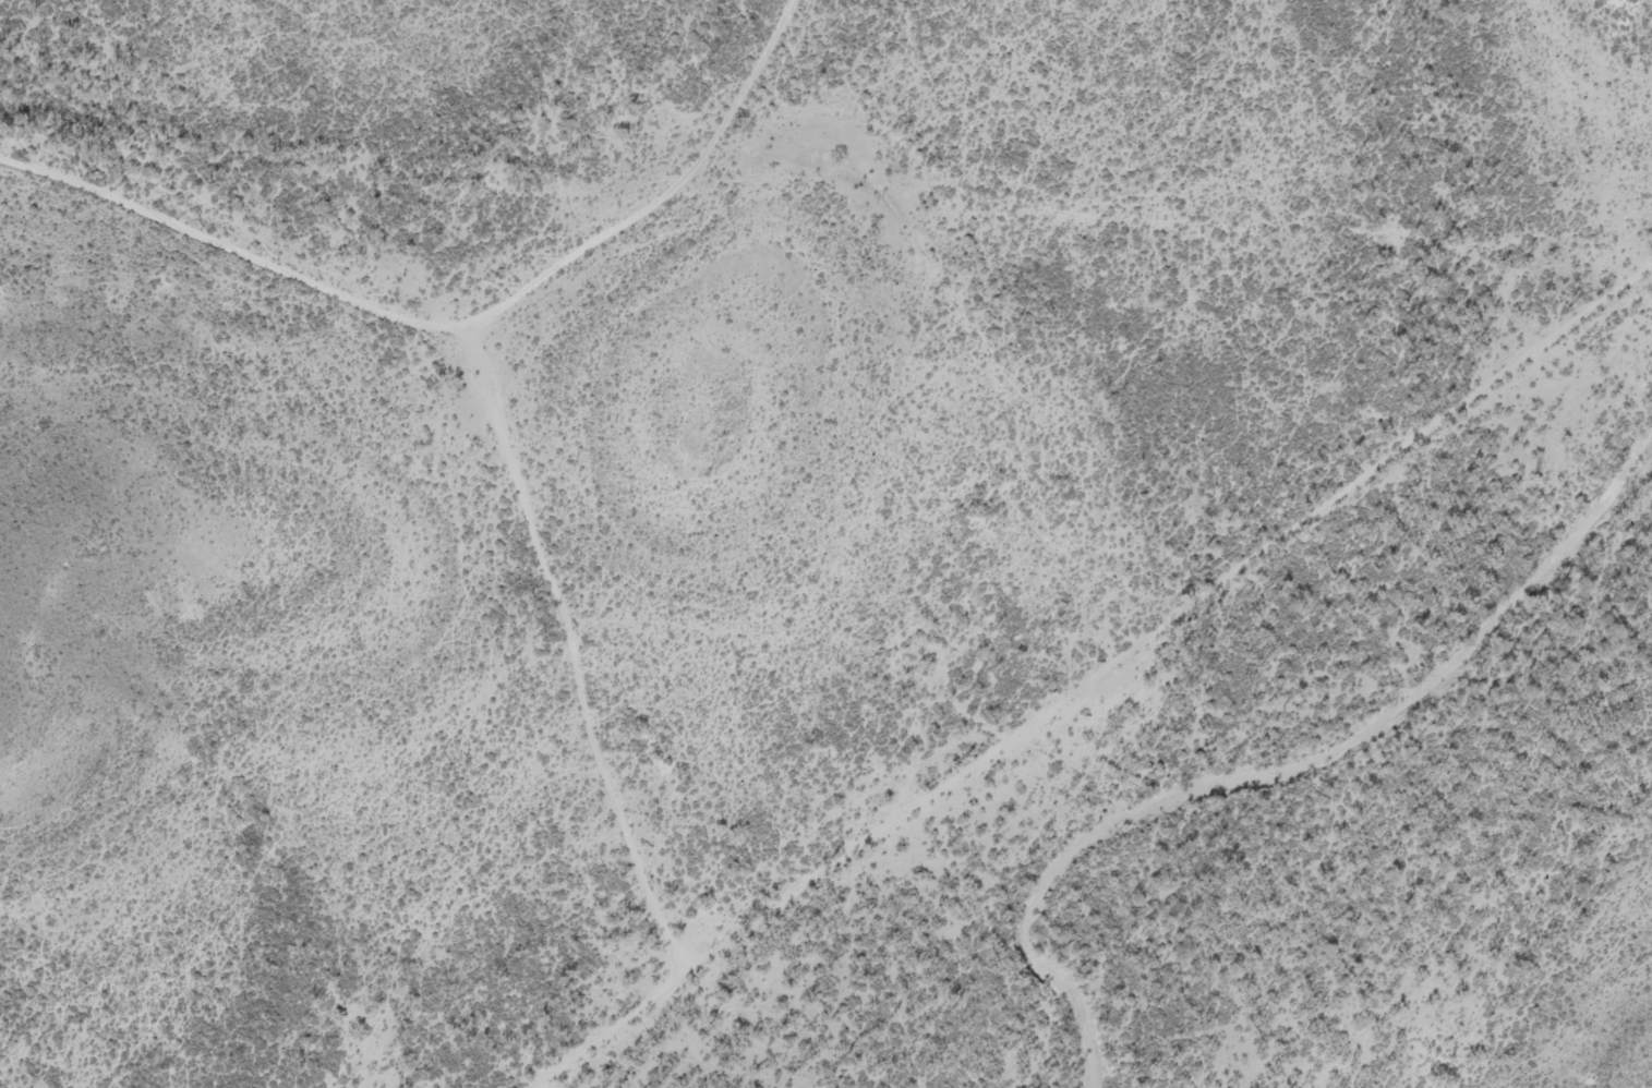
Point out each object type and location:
road: (457, 323)

